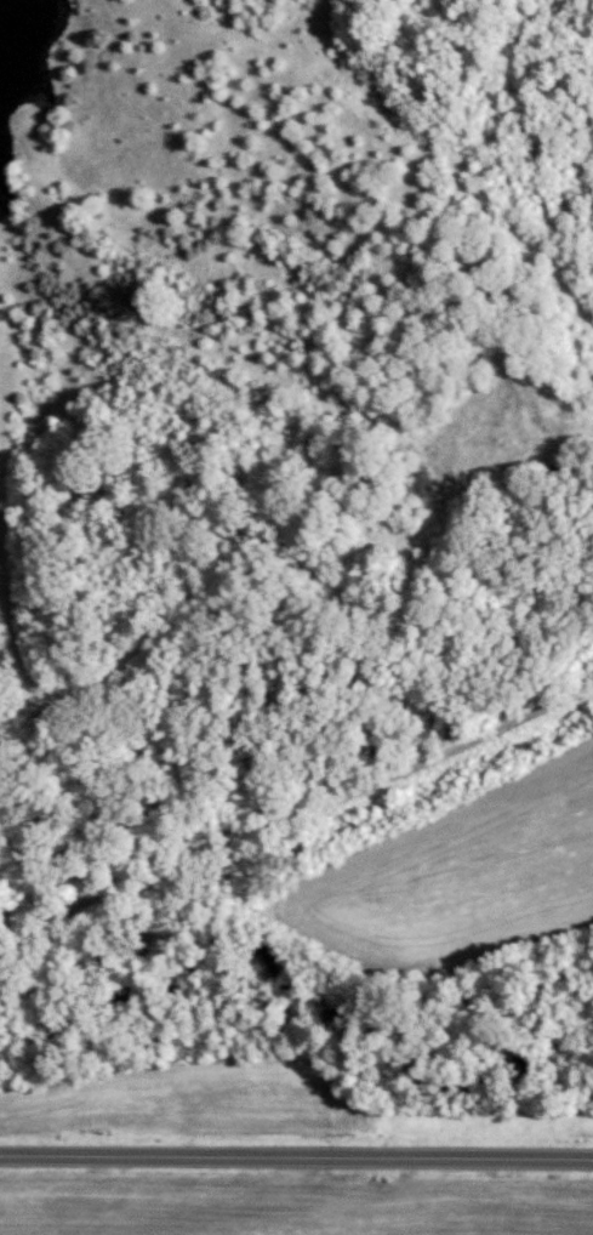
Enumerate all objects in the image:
road: (298, 814)
road: (296, 1157)

